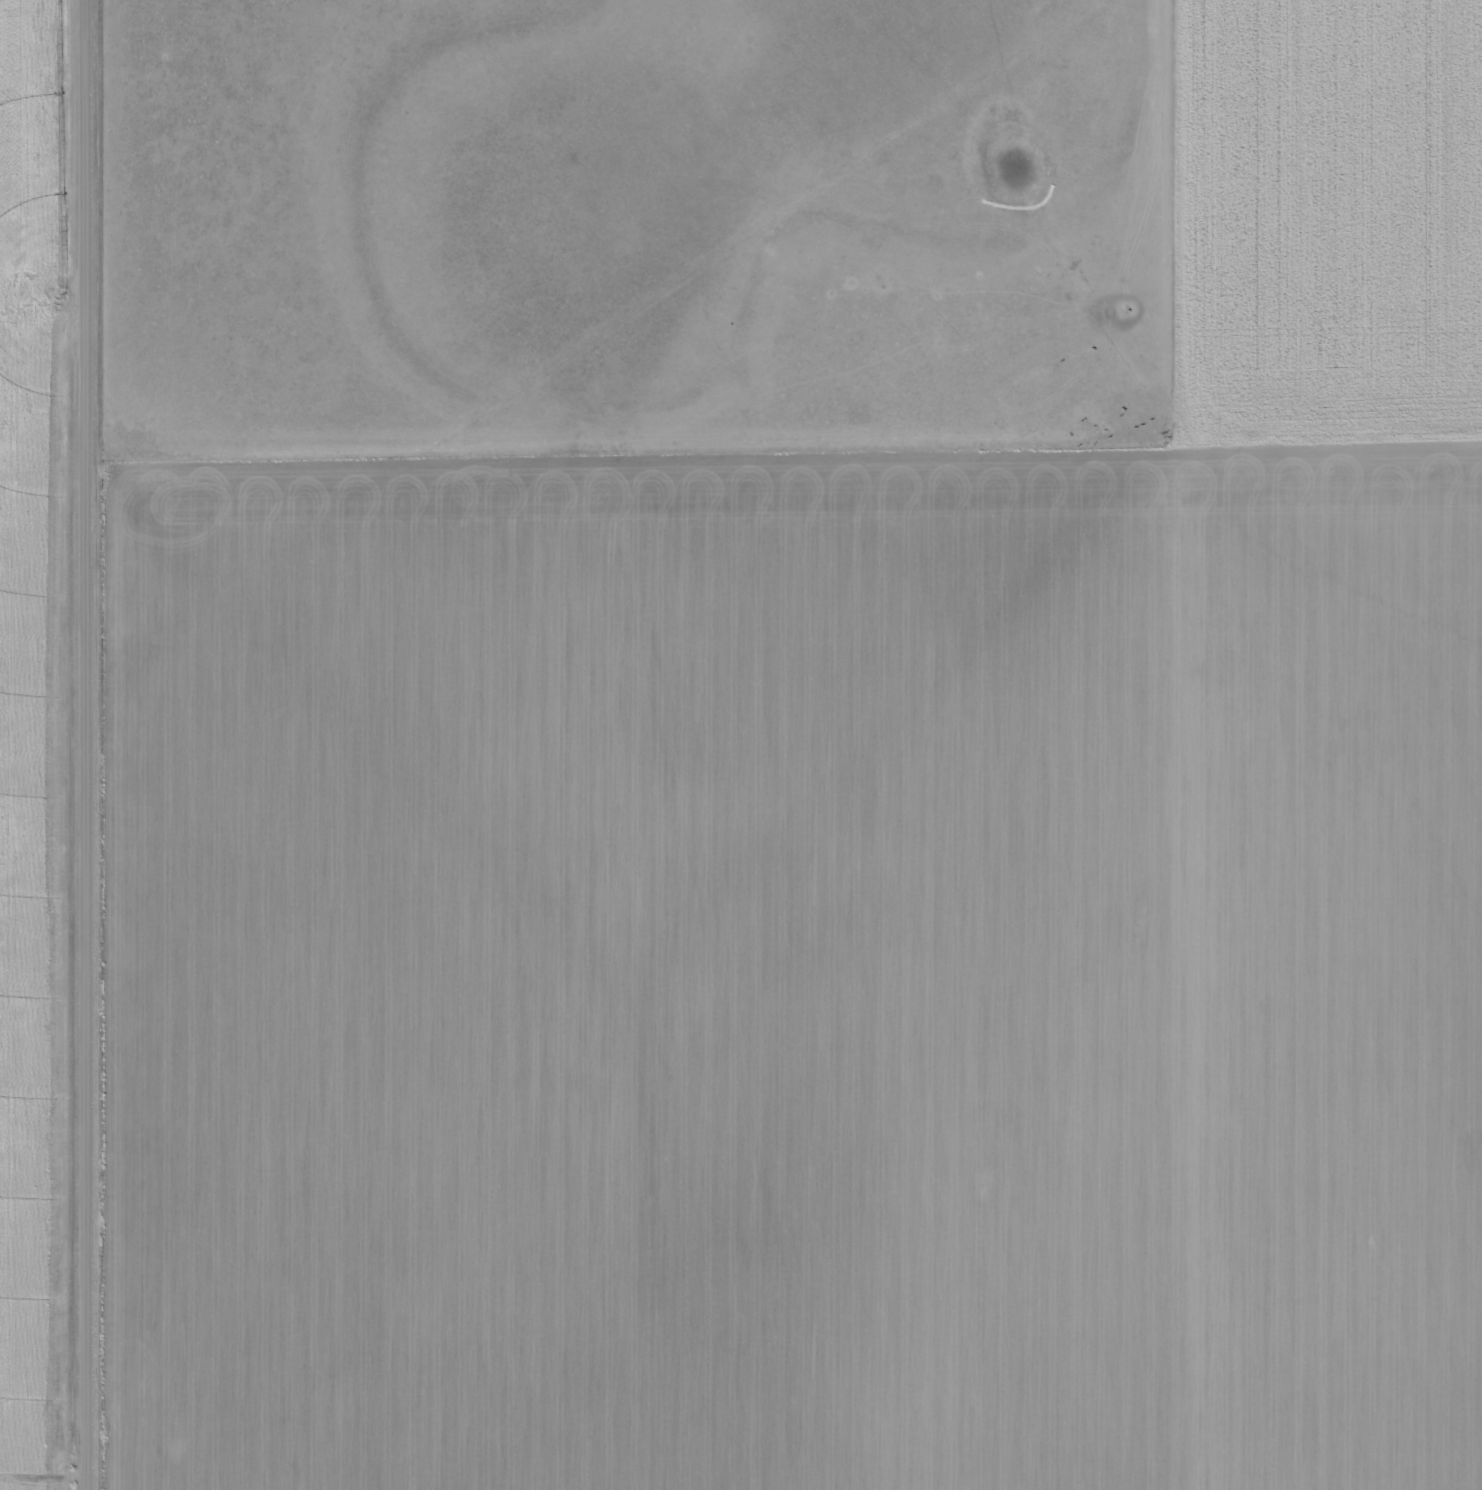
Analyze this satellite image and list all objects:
road: (86, 745)

